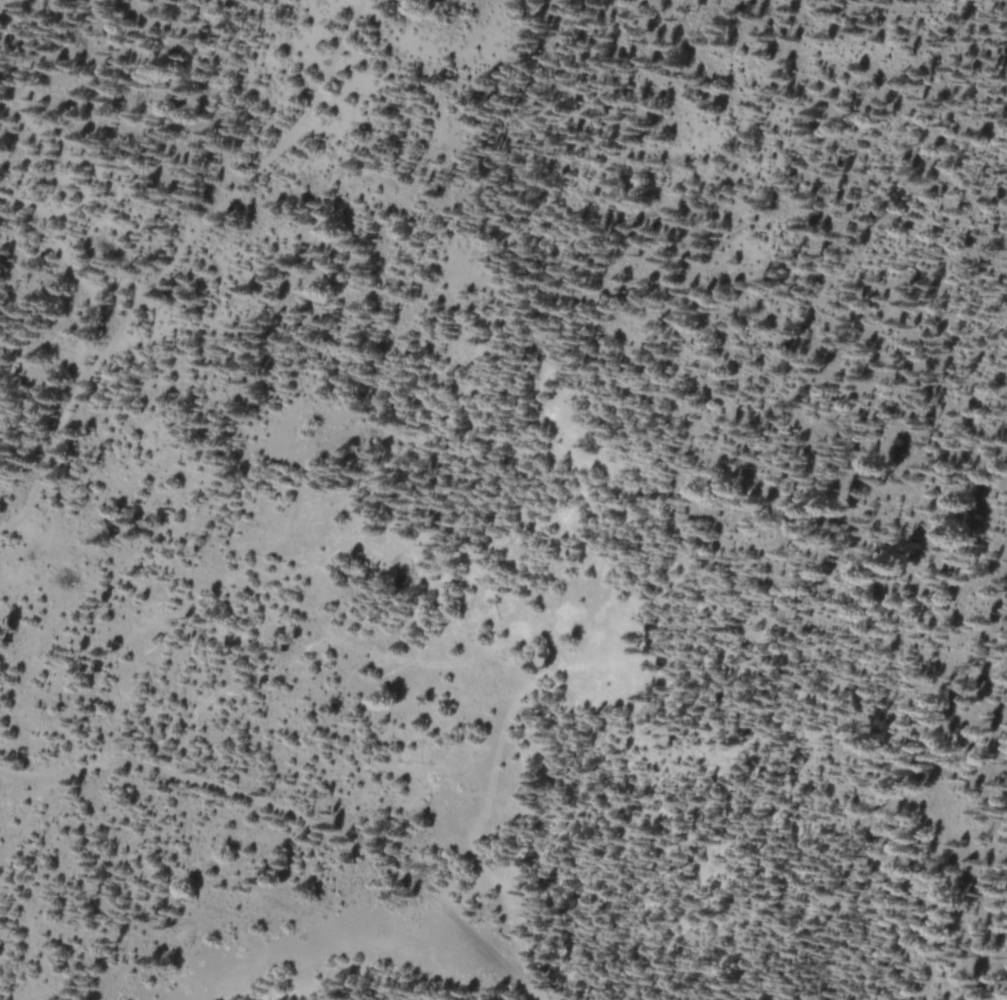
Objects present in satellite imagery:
road: (176, 261)
road: (294, 818)

